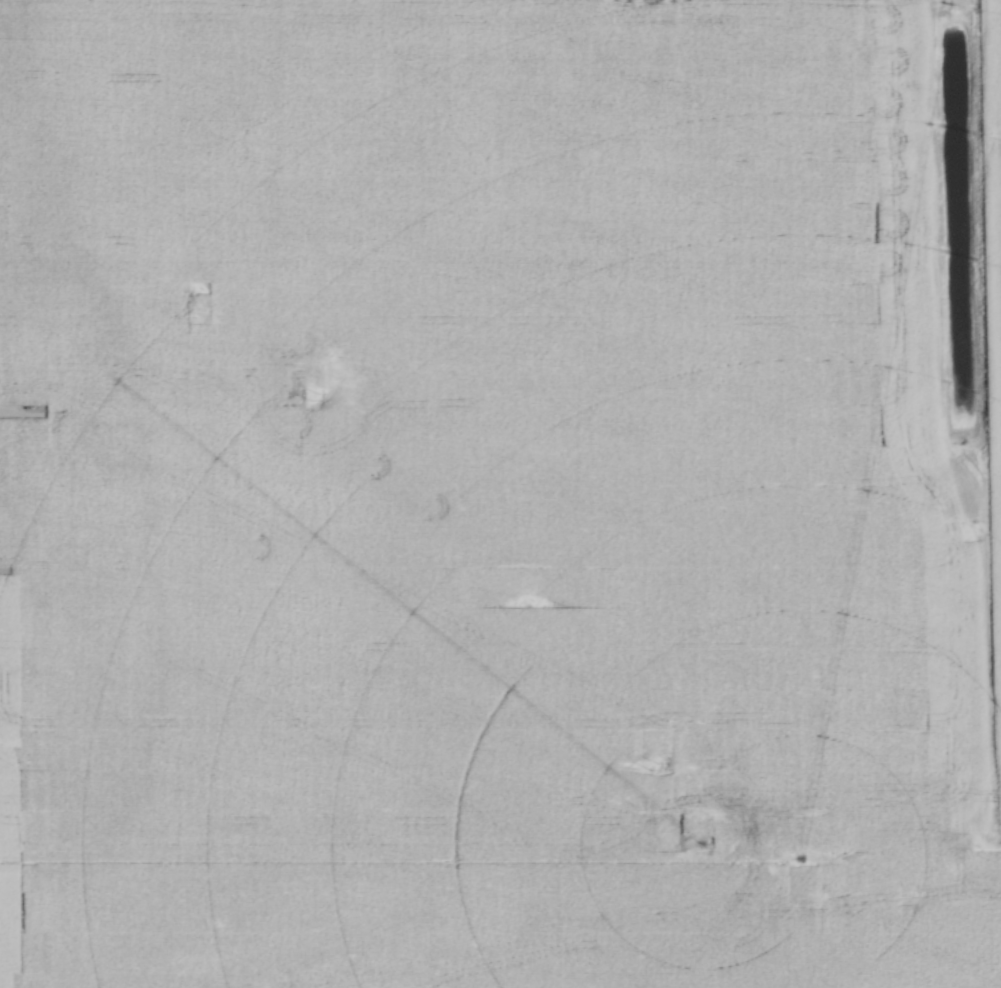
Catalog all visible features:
power tower: (312, 397)
power tower: (652, 768)

